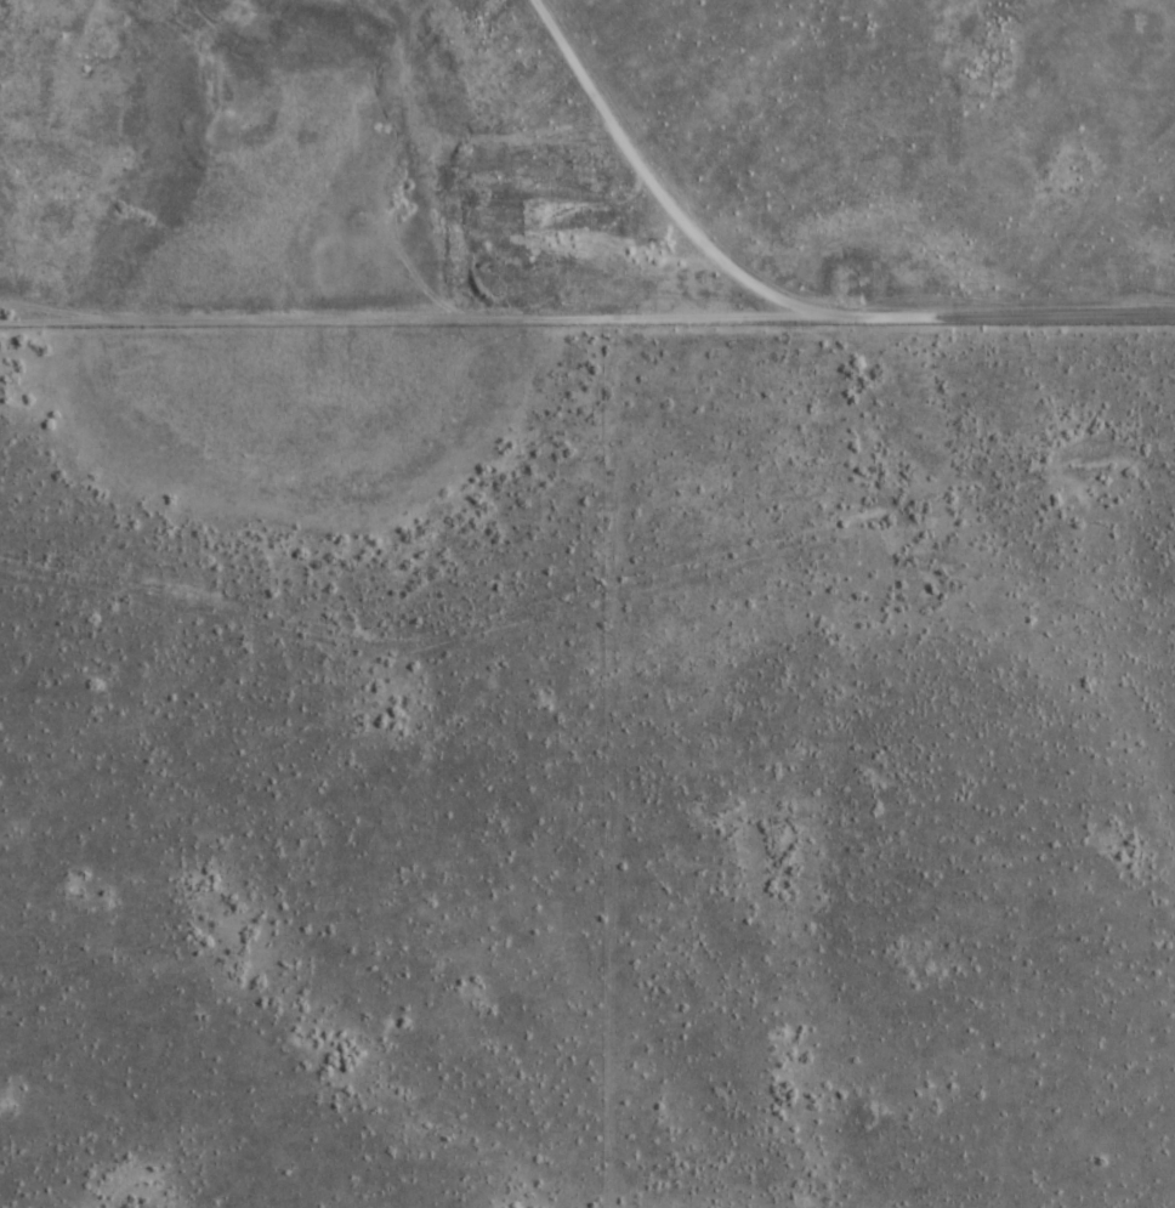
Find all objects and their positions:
airport: (586, 163)
road: (781, 300)

